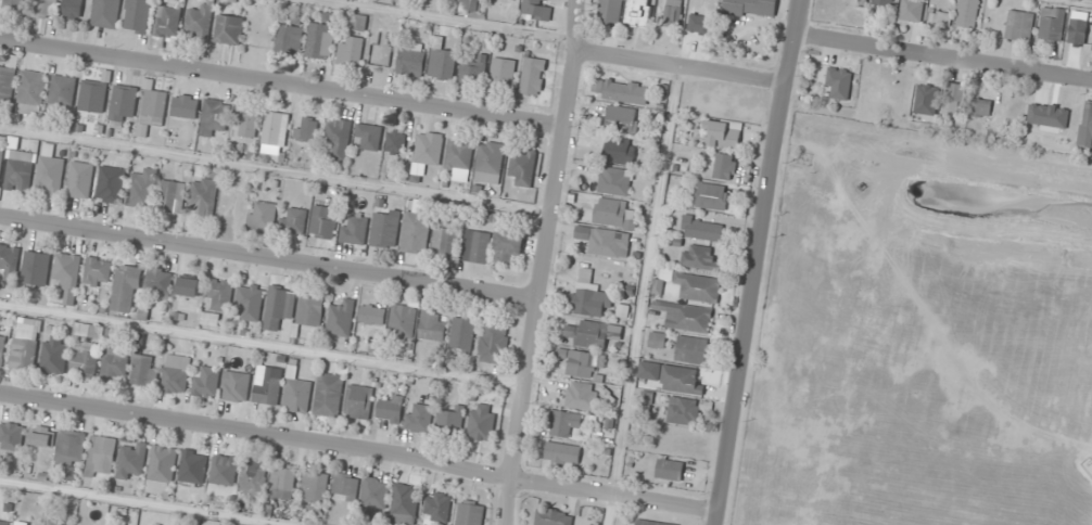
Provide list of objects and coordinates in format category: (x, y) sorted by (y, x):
building: (886, 2)
building: (14, 4)
building: (472, 4)
building: (751, 8)
building: (47, 9)
building: (73, 9)
building: (536, 9)
building: (911, 10)
building: (610, 11)
building: (638, 12)
building: (106, 13)
building: (673, 13)
building: (967, 13)
building: (138, 15)
building: (939, 17)
building: (167, 22)
building: (200, 22)
building: (359, 23)
building: (1051, 24)
building: (1019, 25)
building: (229, 29)
building: (290, 39)
building: (320, 41)
building: (381, 50)
building: (351, 51)
road: (943, 54)
building: (410, 62)
building: (442, 64)
road: (680, 65)
building: (503, 72)
building: (471, 73)
building: (533, 76)
road: (280, 81)
building: (839, 82)
building: (8, 84)
building: (63, 90)
building: (625, 91)
building: (33, 92)
building: (93, 95)
building: (925, 100)
building: (952, 100)
building: (125, 102)
building: (154, 106)
building: (186, 106)
building: (981, 107)
building: (215, 115)
building: (620, 119)
building: (246, 123)
building: (1085, 125)
building: (307, 129)
building: (276, 133)
building: (722, 133)
building: (369, 137)
building: (339, 139)
building: (396, 141)
building: (429, 148)
building: (620, 151)
building: (459, 154)
building: (2, 155)
building: (490, 162)
building: (723, 166)
building: (522, 168)
building: (20, 170)
building: (51, 175)
building: (81, 180)
building: (614, 181)
building: (111, 184)
building: (142, 190)
building: (173, 196)
building: (712, 196)
building: (205, 197)
building: (612, 213)
building: (263, 216)
building: (295, 220)
building: (323, 222)
building: (385, 229)
building: (701, 229)
building: (354, 230)
building: (416, 232)
building: (605, 241)
building: (445, 242)
building: (477, 246)
building: (508, 247)
building: (698, 258)
building: (10, 260)
road: (271, 260)
road: (547, 262)
road: (755, 262)
building: (36, 268)
building: (98, 272)
building: (68, 277)
building: (160, 283)
building: (689, 285)
building: (189, 286)
building: (126, 289)
building: (219, 293)
building: (587, 295)
building: (250, 303)
building: (279, 307)
building: (312, 310)
building: (341, 318)
building: (391, 318)
building: (687, 318)
building: (211, 319)
building: (431, 329)
building: (89, 331)
building: (464, 334)
building: (588, 334)
building: (657, 341)
building: (494, 343)
building: (2, 349)
building: (690, 349)
building: (24, 354)
building: (54, 355)
building: (84, 358)
building: (582, 362)
building: (115, 363)
building: (144, 370)
building: (176, 373)
building: (681, 380)
building: (205, 381)
building: (236, 386)
building: (267, 389)
building: (297, 395)
building: (329, 395)
building: (582, 396)
building: (360, 401)
building: (391, 409)
building: (684, 410)
building: (420, 419)
building: (452, 420)
building: (482, 422)
building: (563, 423)
building: (11, 436)
building: (41, 436)
building: (71, 452)
building: (562, 452)
road: (357, 453)
building: (101, 456)
building: (131, 460)
building: (193, 461)
building: (669, 469)
building: (162, 470)
building: (224, 470)
building: (253, 478)
building: (283, 479)
building: (346, 486)
building: (315, 487)
building: (376, 496)
building: (405, 504)
building: (437, 507)
building: (470, 513)
building: (554, 517)
building: (58, 522)
building: (4, 523)
building: (651, 523)

